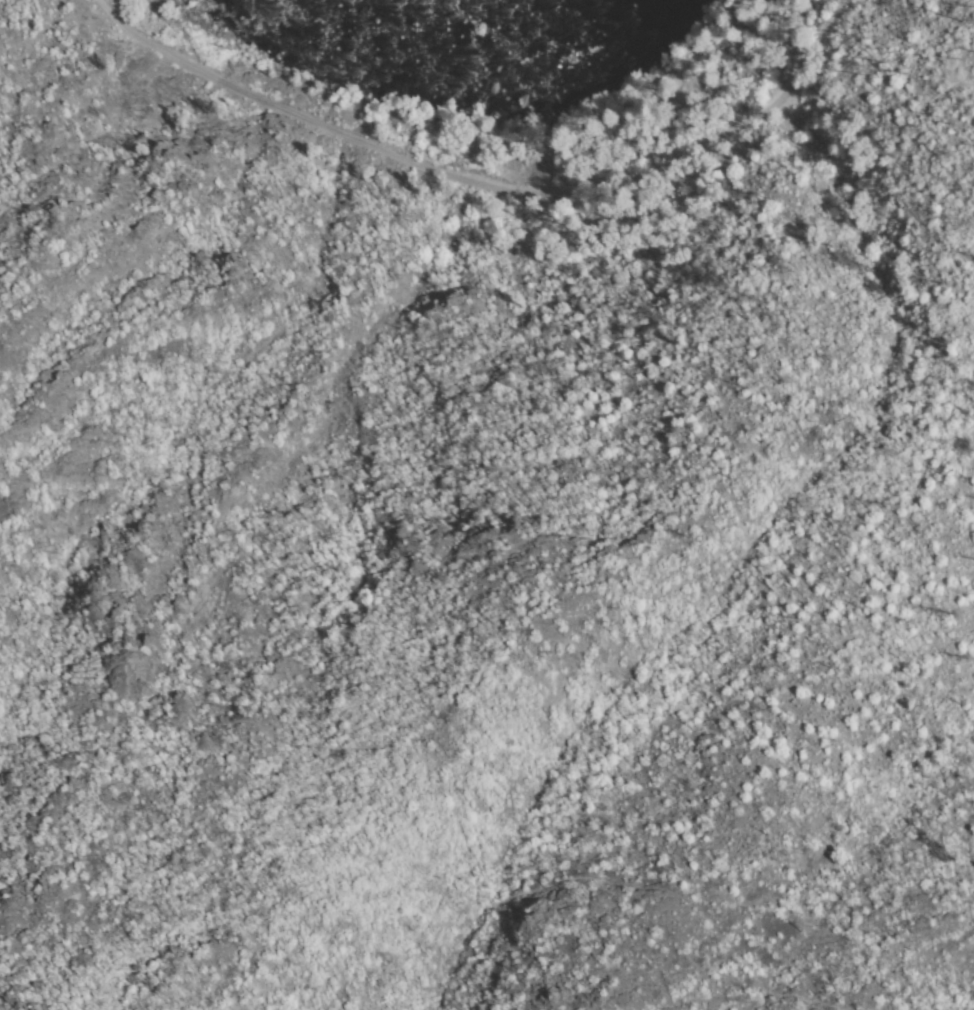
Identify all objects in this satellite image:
river: (463, 39)
road: (483, 186)

